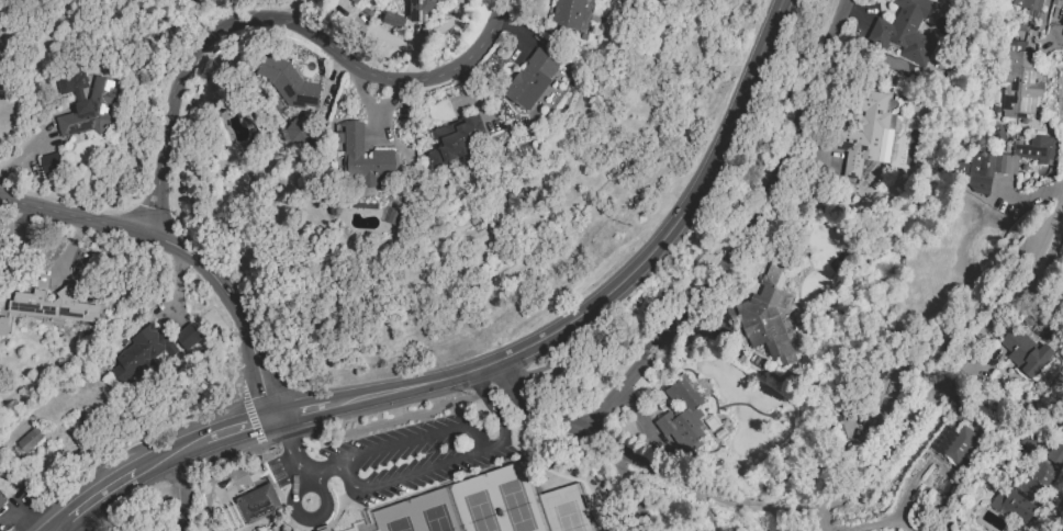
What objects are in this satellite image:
building: (356, 1)
building: (1029, 3)
building: (423, 9)
road: (295, 12)
building: (571, 13)
road: (276, 16)
building: (392, 20)
building: (903, 33)
road: (426, 34)
building: (531, 79)
building: (290, 82)
building: (86, 103)
building: (295, 132)
building: (864, 133)
building: (457, 139)
building: (382, 154)
building: (1017, 156)
building: (49, 163)
road: (997, 212)
road: (19, 227)
road: (718, 239)
road: (64, 249)
road: (183, 249)
road: (712, 275)
road: (620, 281)
road: (1039, 298)
building: (53, 305)
building: (770, 305)
building: (3, 326)
building: (188, 337)
building: (142, 352)
building: (1025, 352)
road: (951, 371)
road: (478, 379)
road: (299, 408)
road: (987, 410)
road: (250, 414)
road: (497, 414)
building: (682, 414)
road: (237, 428)
road: (295, 439)
road: (413, 439)
building: (29, 440)
building: (955, 444)
road: (491, 445)
building: (1055, 454)
road: (167, 456)
road: (298, 462)
road: (649, 470)
road: (409, 475)
road: (304, 481)
road: (298, 488)
road: (908, 489)
building: (1023, 492)
road: (637, 495)
park: (518, 497)
building: (1, 500)
road: (97, 500)
building: (258, 504)
park: (477, 504)
park: (566, 509)
park: (436, 510)
road: (770, 513)
park: (395, 517)
road: (808, 523)
road: (865, 527)
road: (57, 529)
road: (61, 529)
road: (13, 530)
building: (324, 530)
building: (337, 530)

